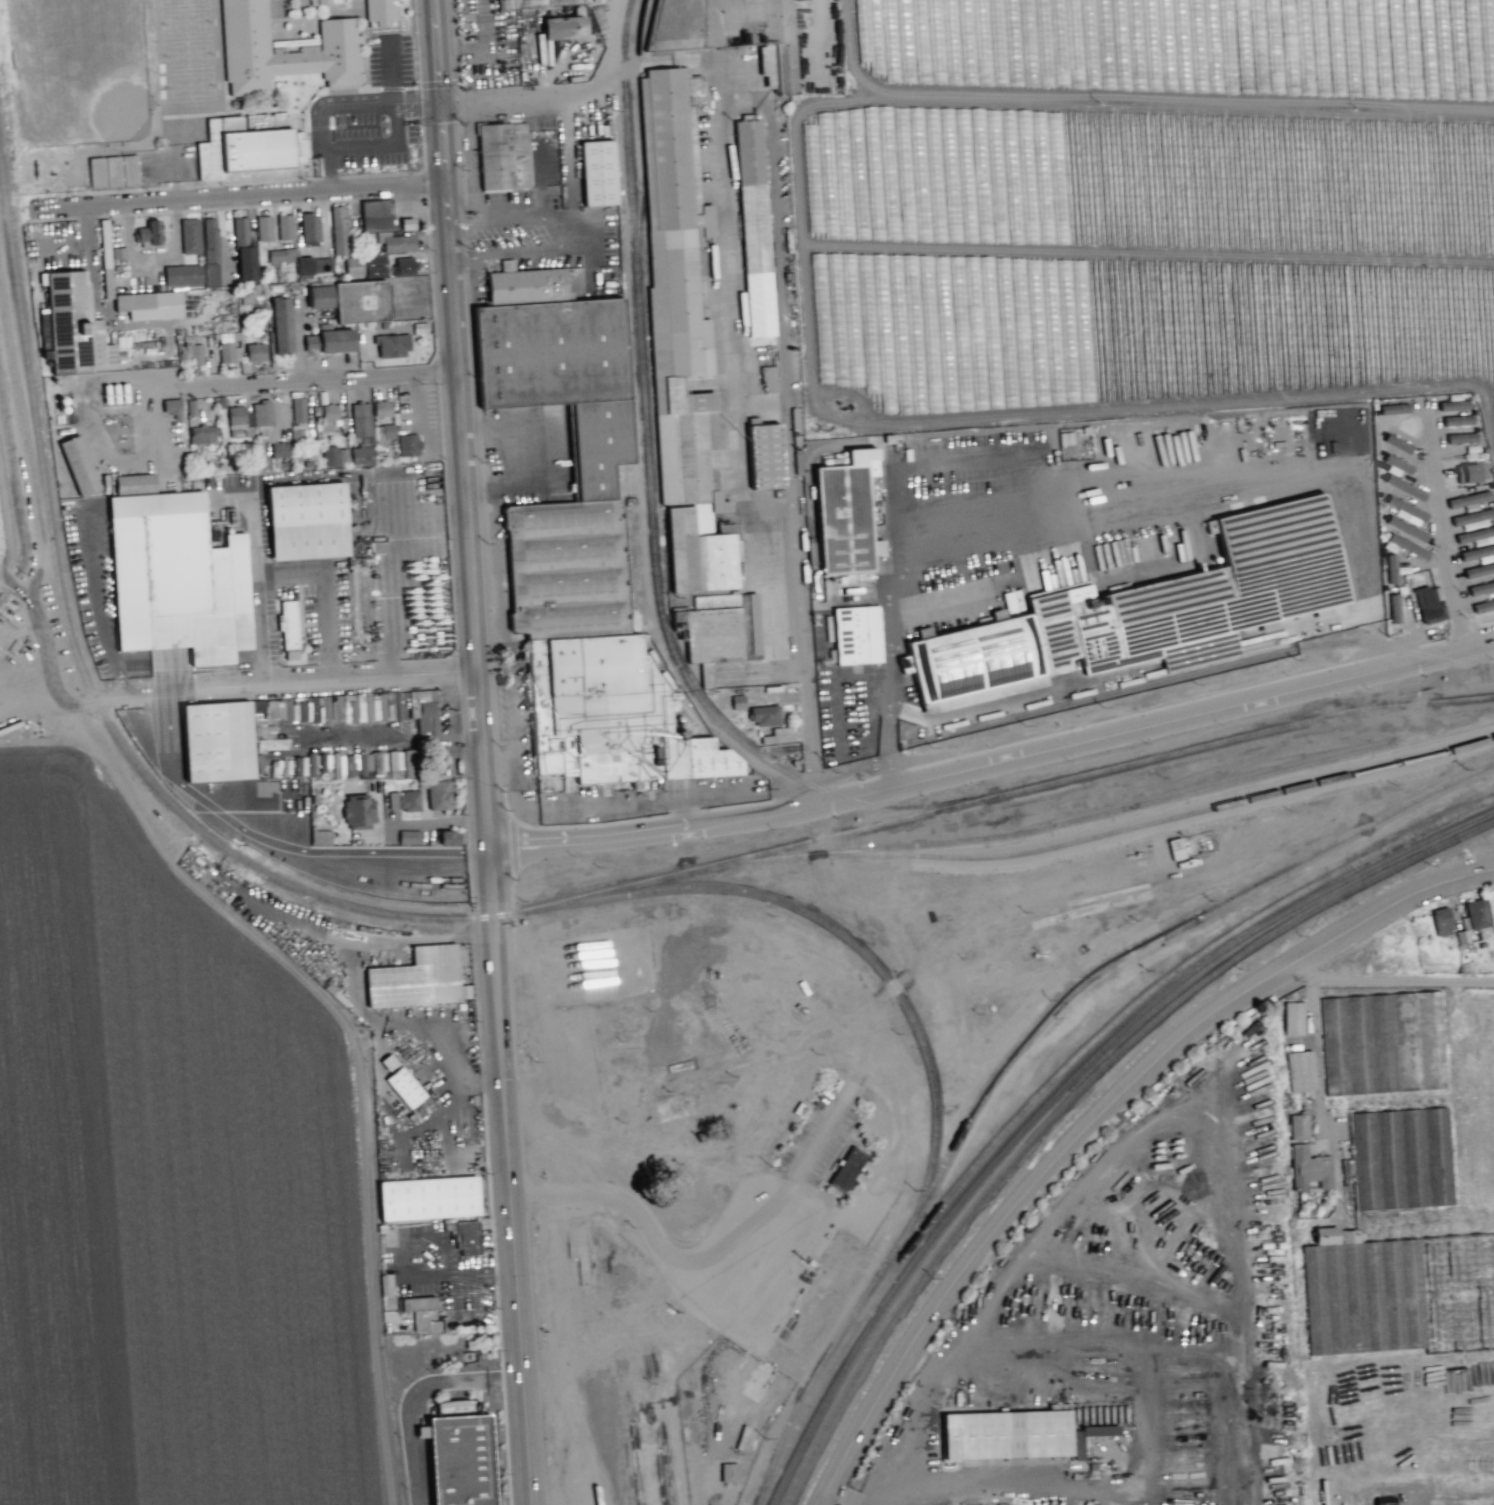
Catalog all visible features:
park: (180, 2)
building: (324, 3)
building: (514, 6)
building: (380, 13)
park: (184, 21)
building: (563, 27)
building: (724, 29)
building: (280, 53)
park: (186, 54)
park: (84, 70)
road: (390, 73)
park: (188, 86)
road: (564, 96)
traffic signals: (444, 104)
road: (335, 107)
road: (383, 144)
building: (253, 151)
building: (503, 157)
building: (129, 169)
building: (112, 171)
building: (96, 172)
building: (596, 174)
road: (238, 197)
crop: (1149, 207)
building: (376, 215)
building: (284, 226)
building: (755, 227)
building: (263, 228)
building: (309, 229)
building: (338, 230)
building: (240, 231)
road: (570, 231)
building: (149, 232)
building: (189, 235)
building: (395, 242)
building: (210, 252)
building: (281, 255)
building: (245, 263)
building: (313, 265)
building: (352, 265)
building: (374, 265)
building: (403, 266)
building: (182, 275)
building: (319, 296)
building: (360, 301)
building: (149, 305)
building: (73, 325)
building: (281, 325)
building: (329, 341)
building: (391, 345)
building: (255, 352)
building: (768, 378)
road: (309, 381)
building: (114, 393)
building: (696, 396)
building: (171, 406)
building: (381, 408)
building: (1393, 408)
building: (297, 409)
building: (261, 413)
building: (235, 415)
building: (330, 417)
building: (1457, 420)
building: (367, 423)
road: (464, 423)
building: (203, 434)
building: (1460, 438)
building: (1396, 443)
building: (407, 445)
building: (279, 450)
road: (797, 452)
building: (333, 455)
building: (361, 455)
building: (764, 458)
building: (260, 462)
building: (1396, 463)
building: (78, 465)
building: (1468, 472)
building: (134, 483)
building: (1404, 487)
road: (1049, 502)
railway: (650, 508)
building: (1406, 510)
building: (1472, 517)
road: (972, 518)
building: (845, 521)
building: (307, 523)
building: (1406, 528)
road: (1442, 531)
crop: (2, 536)
building: (1407, 546)
building: (585, 548)
building: (1478, 553)
building: (1391, 568)
building: (1479, 570)
building: (177, 580)
building: (1481, 588)
building: (1011, 601)
building: (1429, 605)
building: (1483, 606)
building: (1394, 608)
building: (1155, 611)
building: (287, 624)
building: (857, 635)
railway: (1213, 668)
railway: (88, 682)
road: (288, 688)
railway: (1424, 692)
building: (737, 701)
railway: (1424, 702)
road: (46, 707)
building: (764, 715)
road: (395, 739)
building: (216, 742)
building: (324, 761)
building: (387, 762)
road: (996, 762)
building: (357, 763)
building: (407, 763)
building: (311, 764)
building: (299, 766)
building: (438, 794)
building: (403, 800)
railway: (940, 809)
building: (358, 812)
railway: (1173, 816)
railway: (1057, 823)
building: (408, 836)
building: (320, 837)
building: (448, 837)
railway: (519, 911)
road: (1003, 912)
building: (1476, 914)
building: (1441, 921)
railway: (837, 930)
railway: (1155, 936)
building: (414, 981)
road: (1393, 981)
building: (1293, 1017)
building: (1382, 1042)
road: (948, 1046)
building: (387, 1062)
building: (1300, 1071)
railway: (1054, 1076)
railway: (751, 1084)
railway: (1063, 1085)
building: (404, 1087)
railway: (1075, 1094)
road: (1096, 1121)
building: (1298, 1127)
road: (822, 1132)
parking lot: (816, 1139)
building: (1401, 1158)
building: (1308, 1168)
building: (846, 1169)
road: (507, 1175)
crop: (173, 1184)
building: (430, 1199)
building: (467, 1236)
road: (657, 1243)
crop: (1407, 1249)
road: (454, 1273)
building: (819, 1293)
building: (1361, 1293)
building: (416, 1303)
railway: (824, 1356)
road: (414, 1395)
railway: (583, 1406)
railway: (617, 1430)
building: (1005, 1436)
building: (1077, 1447)
building: (458, 1461)
building: (728, 1472)

